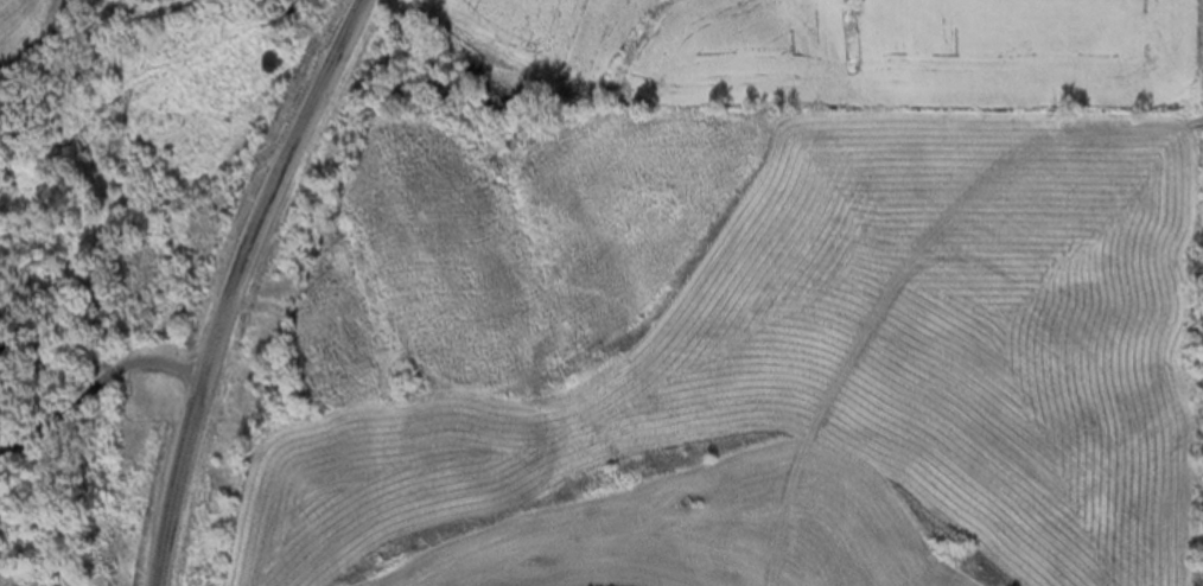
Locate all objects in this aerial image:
road: (235, 285)
road: (96, 386)

